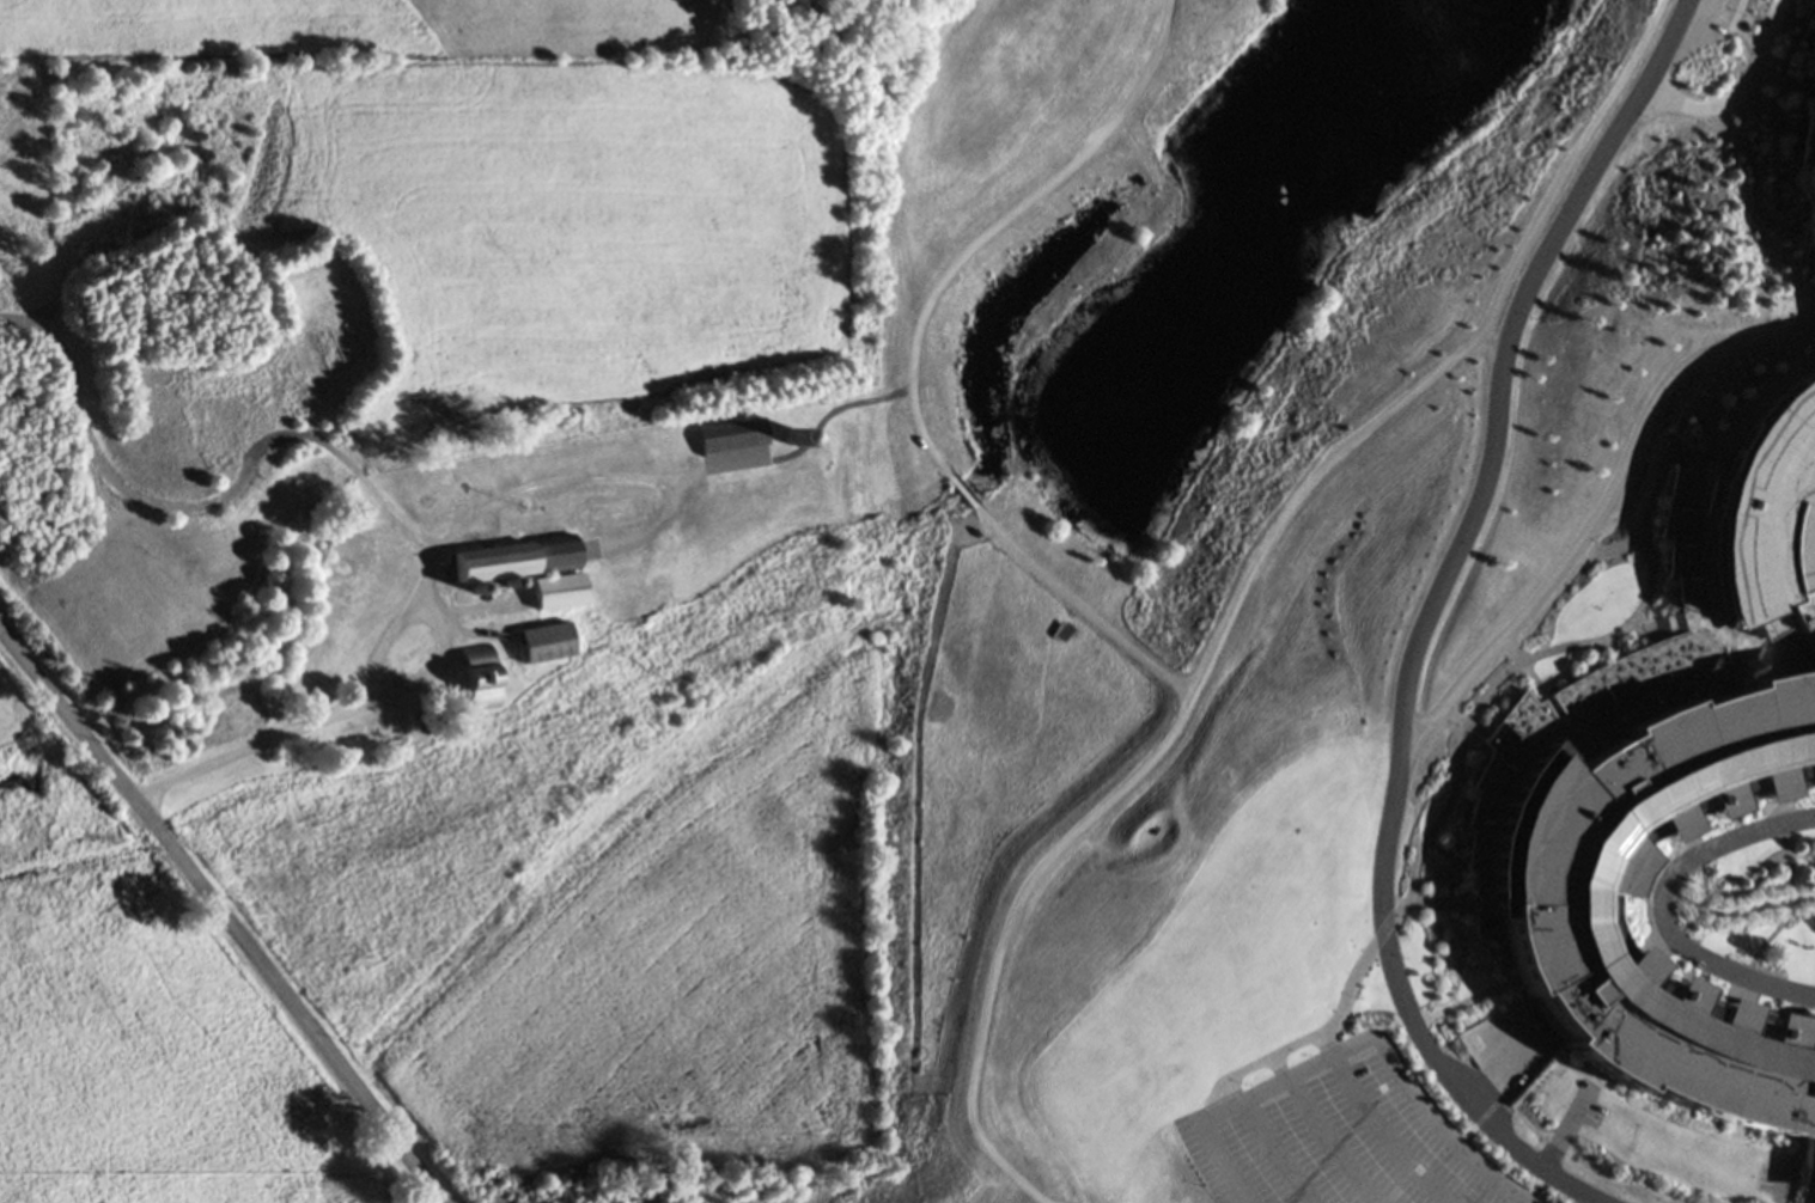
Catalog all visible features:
road: (1575, 0)
road: (1737, 13)
parking lot: (1703, 23)
road: (1744, 37)
road: (1780, 81)
road: (1734, 96)
road: (1748, 155)
road: (1778, 158)
building: (1808, 170)
road: (999, 221)
building: (1797, 231)
park: (328, 325)
building: (293, 362)
building: (220, 414)
building: (788, 435)
building: (730, 440)
road: (99, 472)
road: (956, 484)
road: (1586, 495)
road: (370, 496)
building: (1759, 506)
building: (543, 552)
building: (483, 563)
road: (1232, 585)
building: (552, 596)
stadium: (552, 596)
road: (1073, 601)
road: (1407, 616)
road: (406, 622)
building: (1476, 627)
building: (538, 647)
road: (428, 680)
building: (476, 685)
building: (358, 737)
building: (1557, 830)
road: (1738, 891)
road: (1661, 906)
road: (1786, 909)
road: (1738, 912)
road: (220, 920)
park: (1205, 961)
building: (1464, 1036)
road: (1485, 1045)
road: (1277, 1074)
road: (1432, 1129)
parking lot: (1330, 1135)
road: (1374, 1135)
road: (1316, 1140)
road: (1265, 1150)
road: (1211, 1161)

